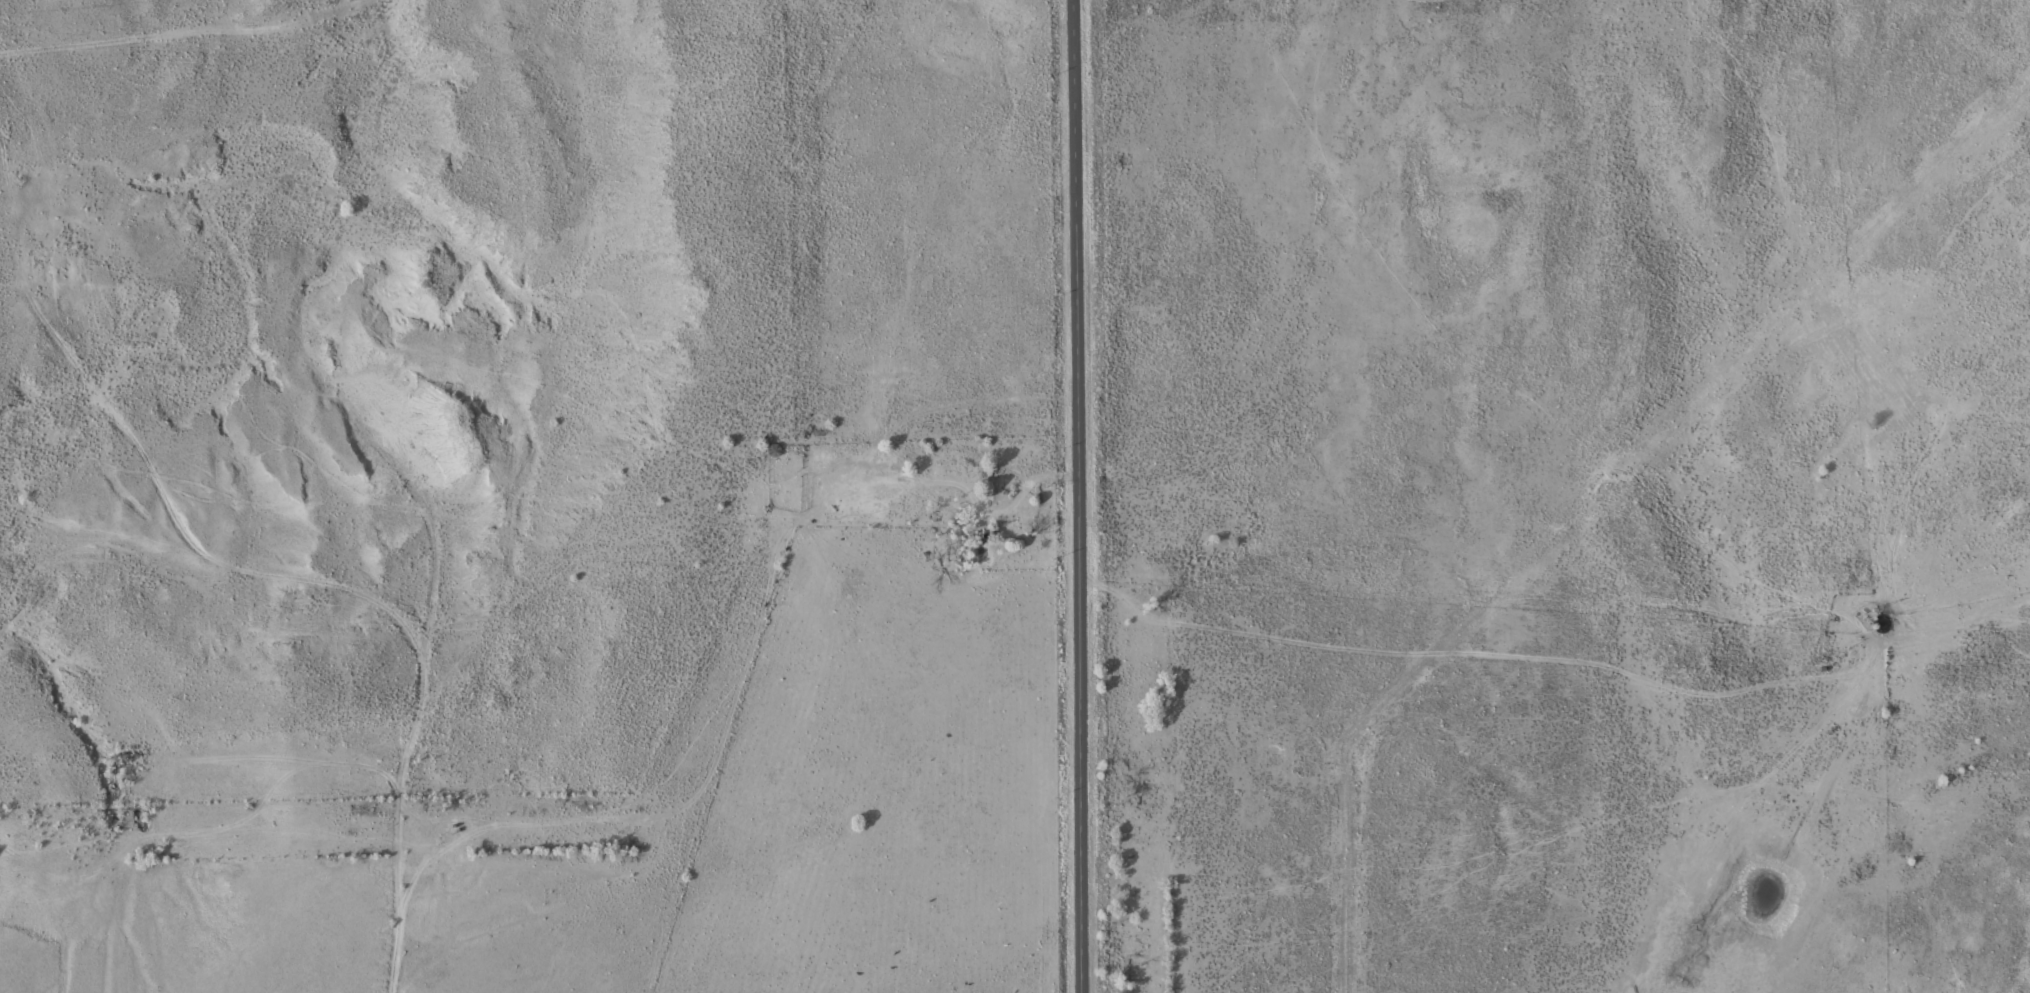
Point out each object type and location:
road: (1076, 496)

